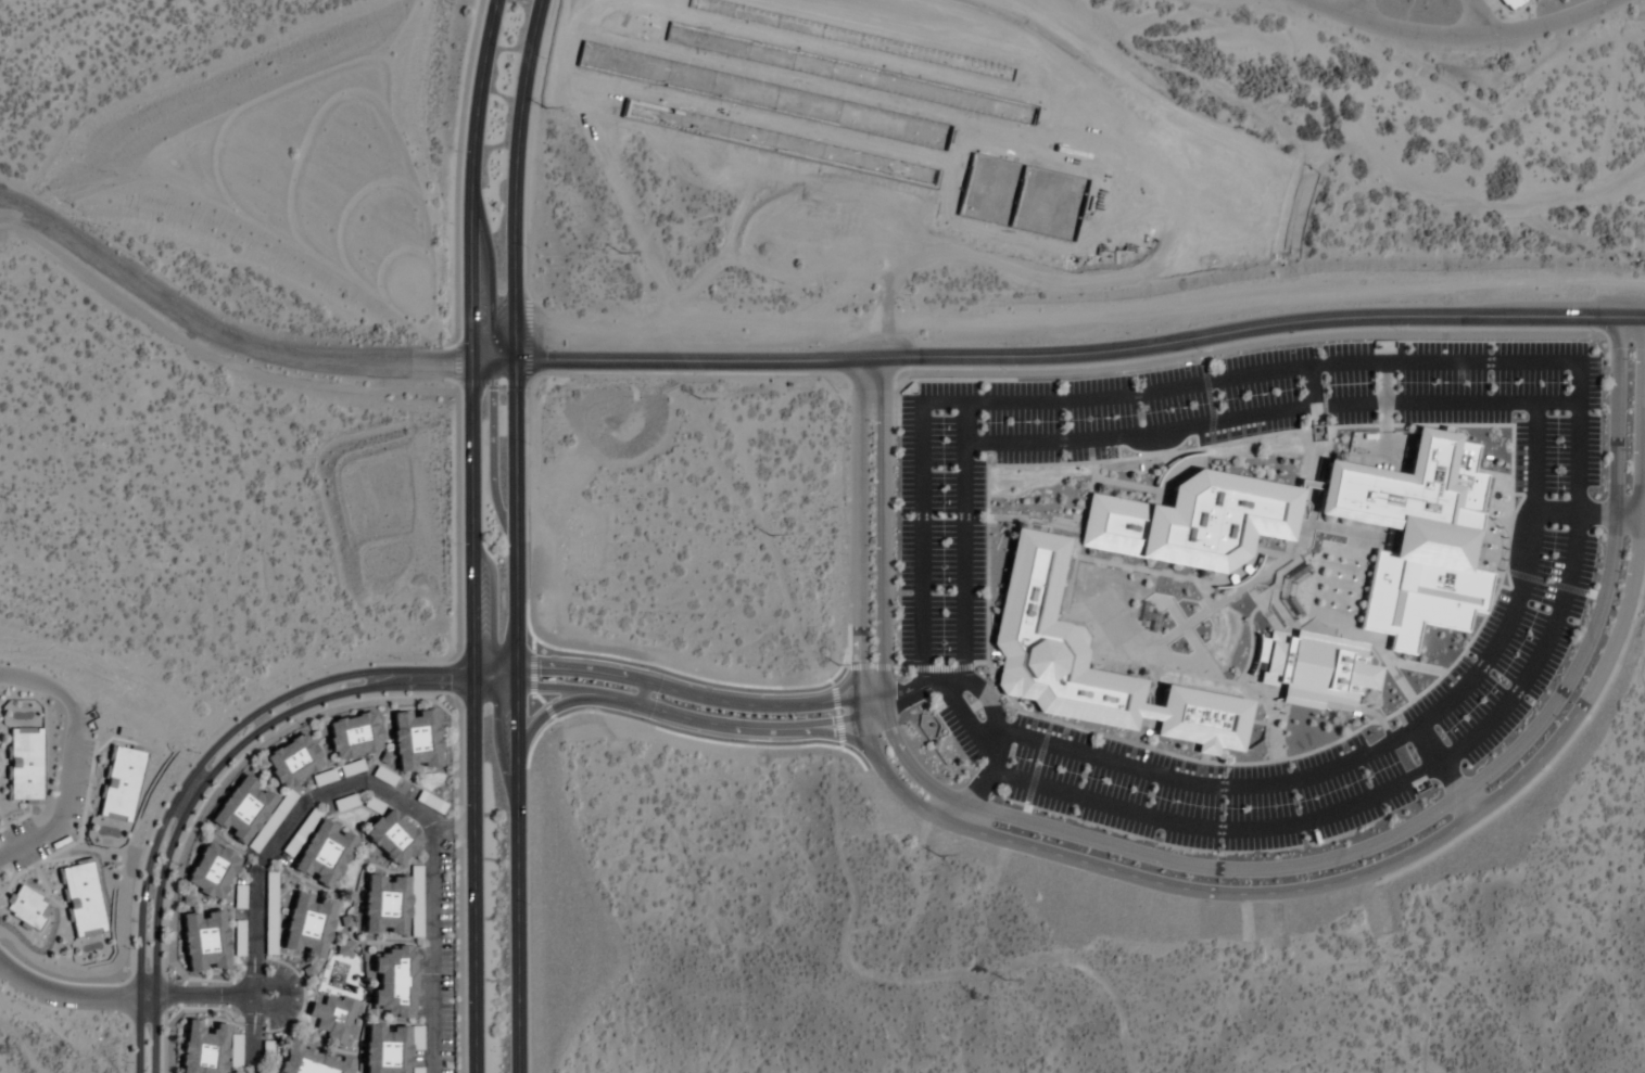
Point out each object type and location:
building: (1510, 3)
road: (1351, 9)
road: (1477, 17)
road: (1458, 37)
power tower: (542, 107)
road: (476, 182)
road: (519, 182)
power tower: (618, 254)
road: (1630, 318)
road: (228, 338)
road: (1068, 354)
road: (497, 367)
power tower: (693, 398)
building: (1192, 523)
power tower: (768, 535)
building: (1415, 536)
building: (1040, 637)
power tower: (836, 665)
building: (1316, 669)
road: (698, 685)
road: (913, 692)
road: (544, 703)
road: (686, 710)
road: (471, 719)
road: (516, 719)
building: (353, 735)
road: (244, 739)
building: (415, 739)
road: (206, 755)
road: (61, 759)
building: (292, 759)
building: (23, 764)
building: (121, 782)
building: (241, 808)
building: (271, 821)
road: (448, 826)
road: (271, 835)
building: (393, 836)
building: (325, 854)
power tower: (936, 855)
road: (1239, 869)
building: (212, 870)
road: (1239, 893)
building: (239, 895)
building: (81, 898)
building: (391, 906)
building: (26, 908)
building: (308, 925)
building: (239, 937)
building: (204, 941)
building: (345, 947)
road: (425, 949)
power tower: (1003, 980)
building: (395, 981)
road: (262, 984)
road: (66, 991)
road: (147, 994)
road: (204, 994)
building: (334, 1020)
road: (153, 1033)
road: (248, 1045)
building: (202, 1047)
building: (390, 1047)
building: (266, 1050)
building: (312, 1061)
building: (417, 1071)

